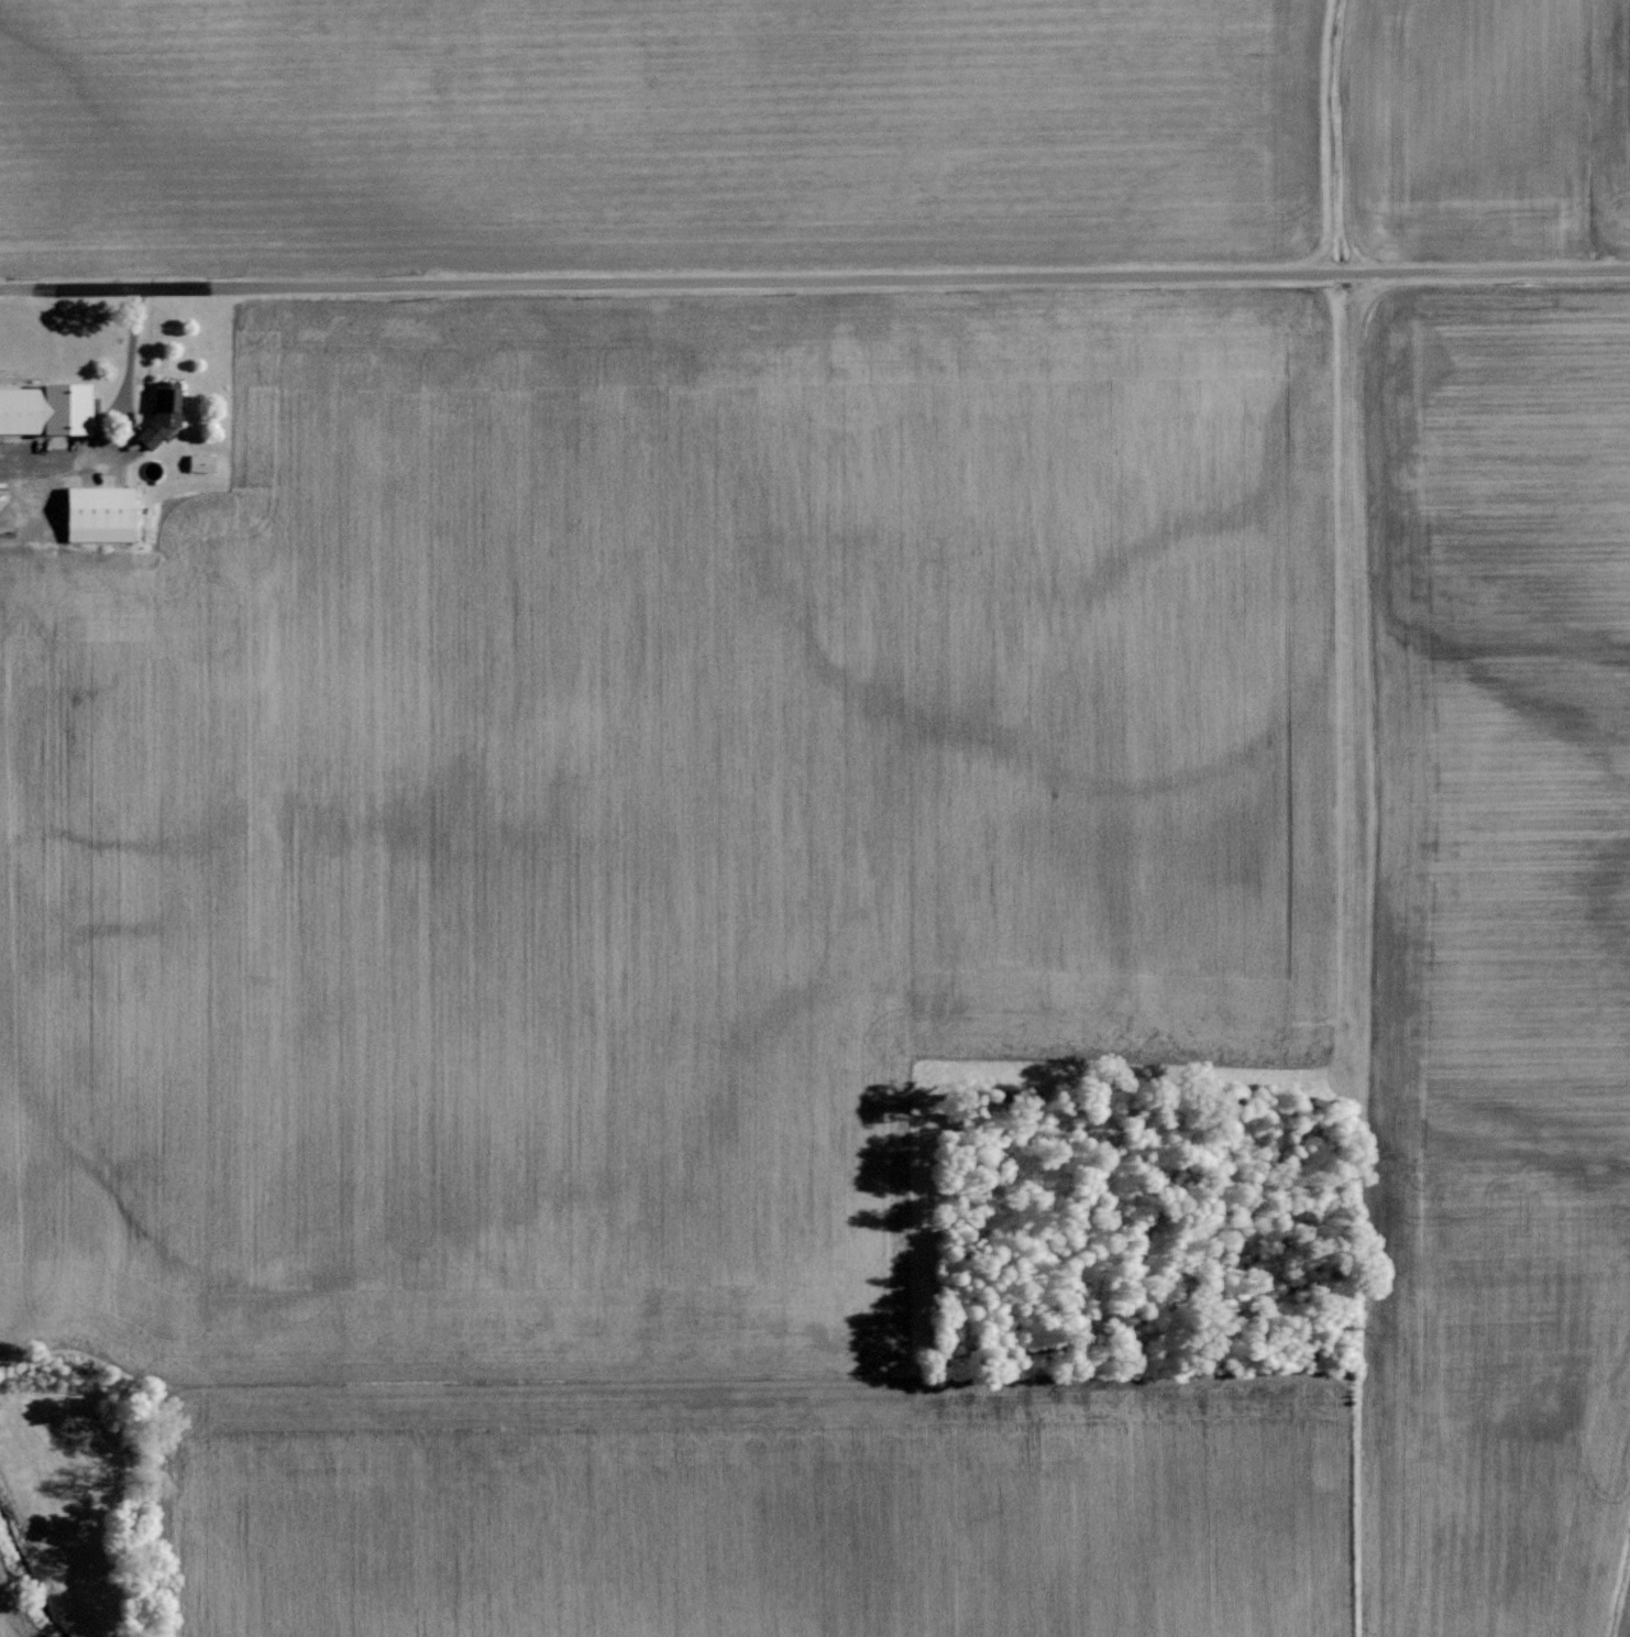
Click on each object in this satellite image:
road: (814, 286)
building: (44, 408)
building: (162, 413)
building: (200, 462)
building: (99, 513)

